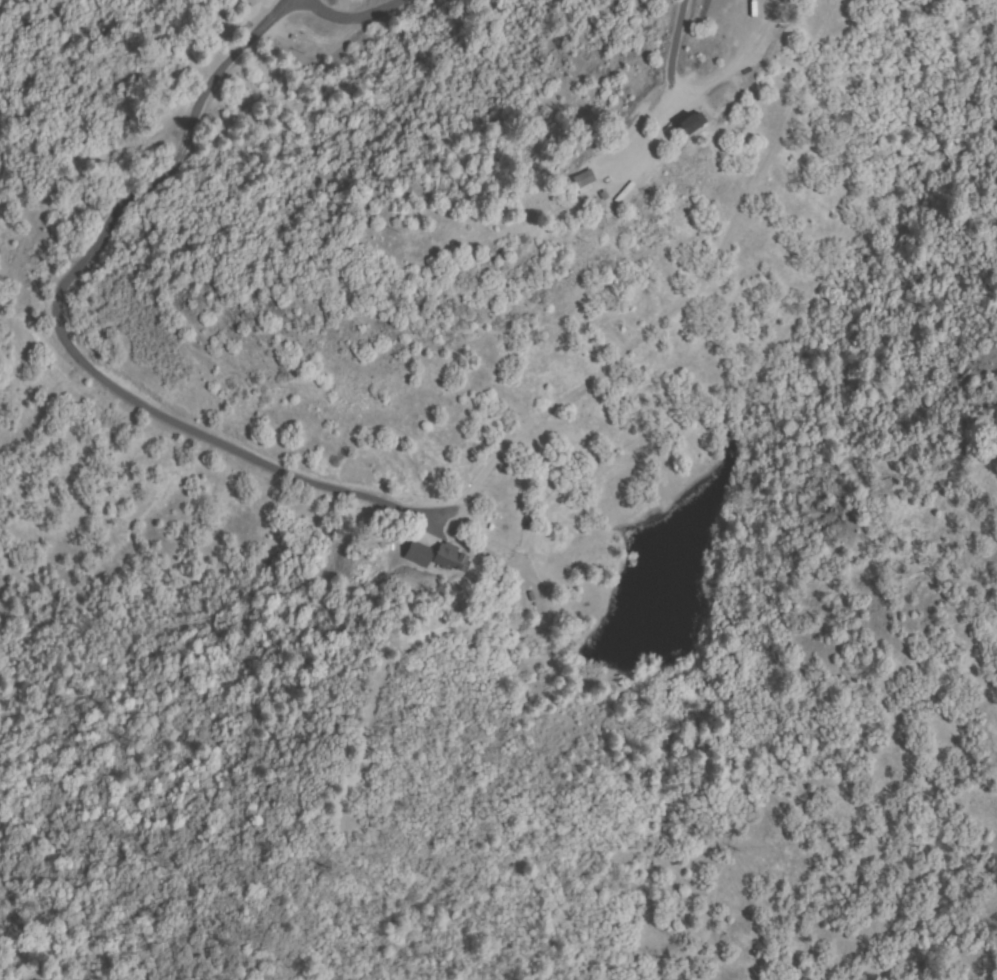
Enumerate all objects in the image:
building: (250, 2)
road: (272, 19)
building: (586, 179)
building: (603, 180)
building: (625, 192)
road: (55, 291)
building: (419, 554)
building: (451, 558)

